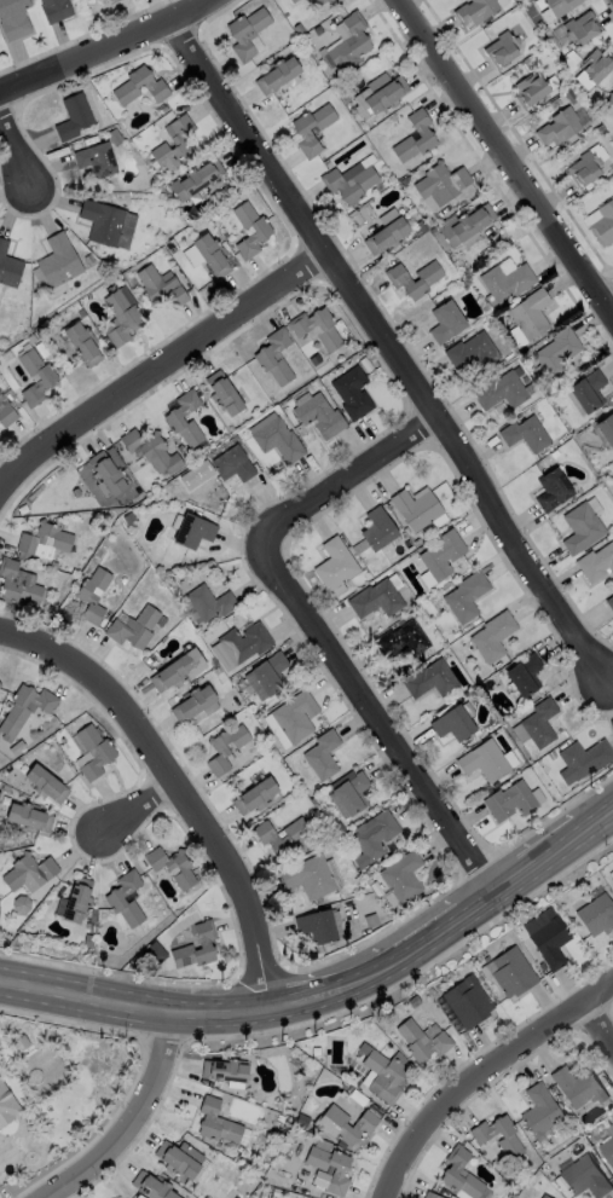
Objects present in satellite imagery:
building: (289, 0)
building: (291, 0)
building: (111, 1)
building: (319, 1)
building: (559, 6)
building: (54, 10)
building: (474, 10)
building: (13, 18)
building: (580, 27)
building: (245, 31)
building: (349, 42)
road: (102, 45)
building: (501, 48)
building: (595, 64)
building: (276, 74)
building: (154, 85)
building: (528, 89)
building: (386, 94)
building: (609, 97)
building: (73, 116)
building: (557, 126)
building: (301, 132)
building: (426, 135)
building: (179, 143)
building: (94, 158)
road: (503, 160)
road: (21, 166)
building: (583, 168)
building: (195, 178)
building: (348, 181)
building: (440, 183)
building: (108, 222)
building: (603, 222)
building: (465, 224)
building: (261, 230)
building: (386, 236)
building: (210, 254)
building: (58, 261)
building: (8, 266)
building: (399, 280)
building: (504, 282)
building: (160, 285)
road: (609, 307)
building: (528, 312)
building: (120, 314)
building: (445, 320)
building: (317, 328)
building: (81, 342)
road: (394, 352)
building: (470, 352)
building: (556, 352)
building: (261, 355)
road: (158, 367)
building: (47, 377)
building: (501, 388)
building: (588, 390)
building: (351, 392)
building: (222, 393)
building: (0, 397)
building: (6, 413)
building: (318, 415)
building: (172, 417)
building: (606, 429)
building: (524, 434)
building: (277, 439)
building: (150, 450)
building: (232, 463)
building: (106, 471)
building: (87, 476)
building: (551, 490)
building: (415, 508)
building: (580, 527)
building: (376, 528)
building: (192, 531)
building: (44, 539)
building: (441, 554)
building: (596, 562)
building: (334, 565)
building: (18, 583)
building: (93, 595)
building: (467, 597)
building: (377, 600)
building: (210, 603)
building: (611, 603)
building: (161, 623)
road: (320, 625)
building: (134, 629)
building: (469, 629)
building: (493, 638)
building: (245, 643)
building: (403, 643)
building: (179, 671)
building: (218, 671)
building: (268, 676)
building: (526, 676)
building: (432, 681)
building: (0, 687)
building: (279, 696)
building: (193, 705)
building: (25, 711)
building: (296, 718)
building: (540, 724)
building: (453, 725)
building: (17, 748)
building: (226, 750)
building: (94, 753)
building: (323, 756)
building: (271, 758)
building: (586, 759)
building: (485, 762)
road: (185, 777)
building: (46, 786)
building: (6, 789)
building: (353, 794)
building: (256, 798)
building: (511, 803)
road: (141, 811)
building: (29, 817)
building: (268, 838)
building: (375, 838)
road: (536, 863)
building: (173, 867)
building: (30, 873)
building: (311, 878)
building: (403, 878)
building: (612, 880)
building: (369, 881)
building: (150, 885)
building: (115, 899)
building: (79, 901)
building: (22, 905)
building: (0, 910)
building: (597, 915)
building: (371, 921)
building: (318, 927)
building: (89, 942)
building: (204, 943)
building: (551, 943)
road: (368, 970)
building: (513, 973)
building: (415, 1002)
building: (468, 1005)
road: (133, 1006)
road: (597, 1022)
building: (423, 1042)
building: (21, 1044)
building: (317, 1052)
building: (294, 1061)
building: (225, 1071)
road: (481, 1071)
building: (384, 1077)
building: (579, 1088)
building: (7, 1106)
building: (540, 1111)
road: (129, 1118)
building: (302, 1122)
building: (218, 1123)
building: (345, 1125)
building: (574, 1132)
building: (482, 1136)
building: (595, 1138)
building: (227, 1146)
building: (323, 1146)
building: (608, 1151)
building: (180, 1159)
building: (339, 1171)
building: (461, 1174)
building: (586, 1177)
building: (251, 1180)
building: (152, 1187)
building: (244, 1190)
building: (276, 1193)
building: (430, 1196)
building: (544, 1197)

